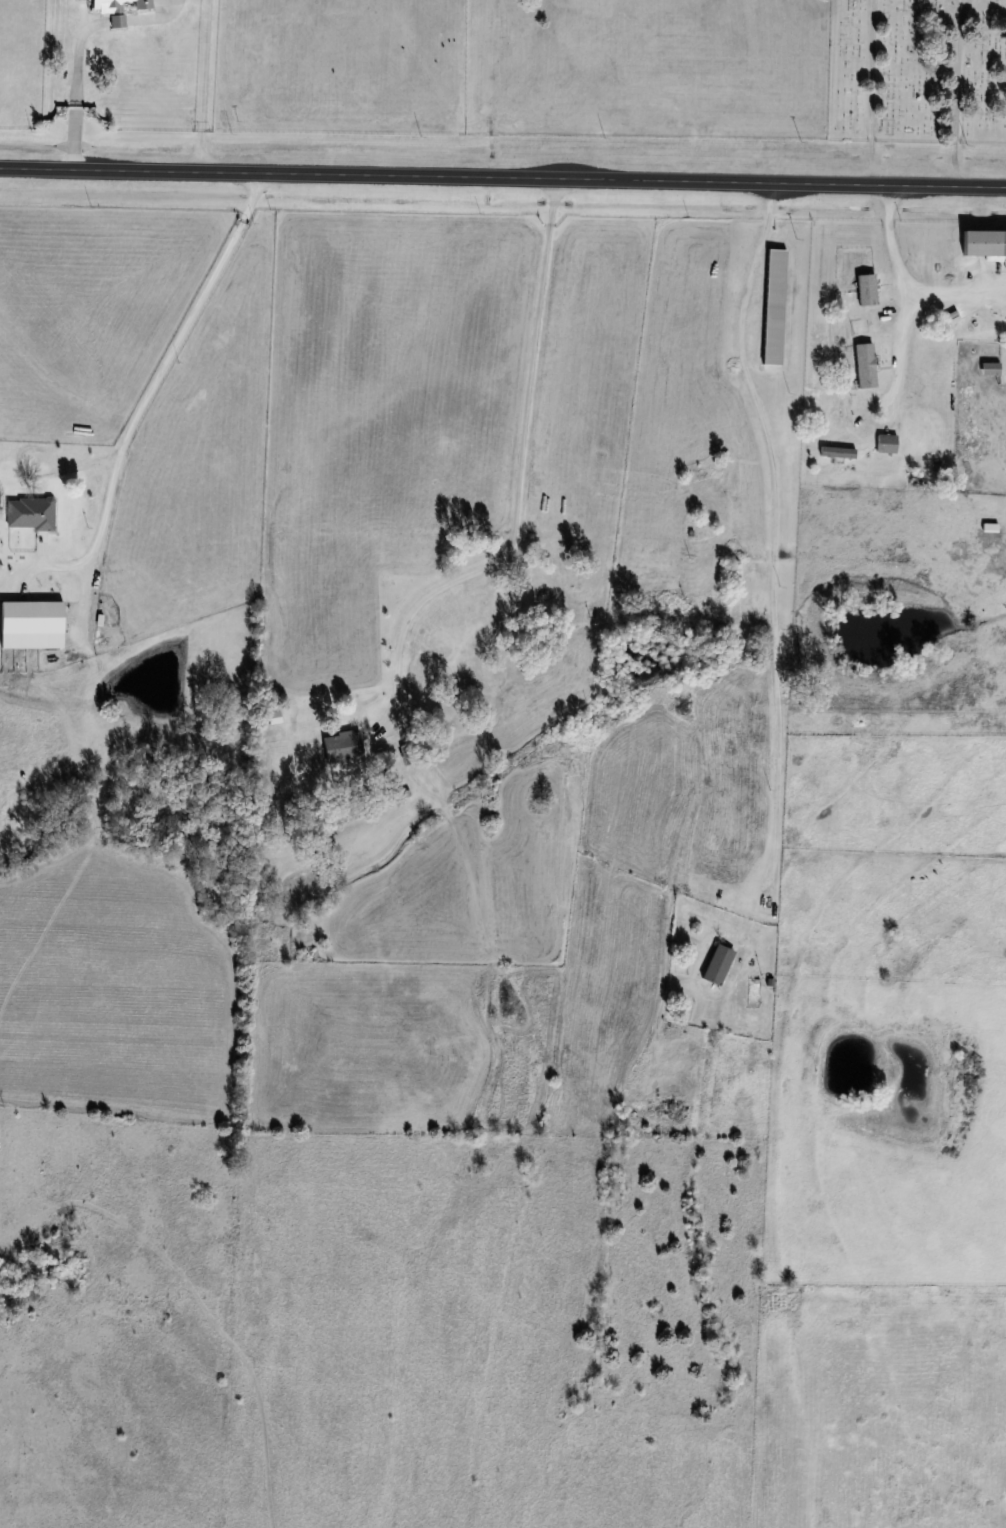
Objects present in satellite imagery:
building: (118, 10)
park: (917, 71)
road: (204, 85)
road: (74, 90)
road: (502, 178)
building: (984, 242)
building: (866, 289)
road: (957, 289)
road: (910, 298)
building: (773, 306)
building: (865, 366)
road: (148, 394)
building: (885, 444)
building: (837, 452)
road: (523, 484)
building: (29, 513)
building: (989, 527)
road: (775, 533)
building: (475, 608)
building: (30, 625)
building: (341, 746)
building: (716, 965)

